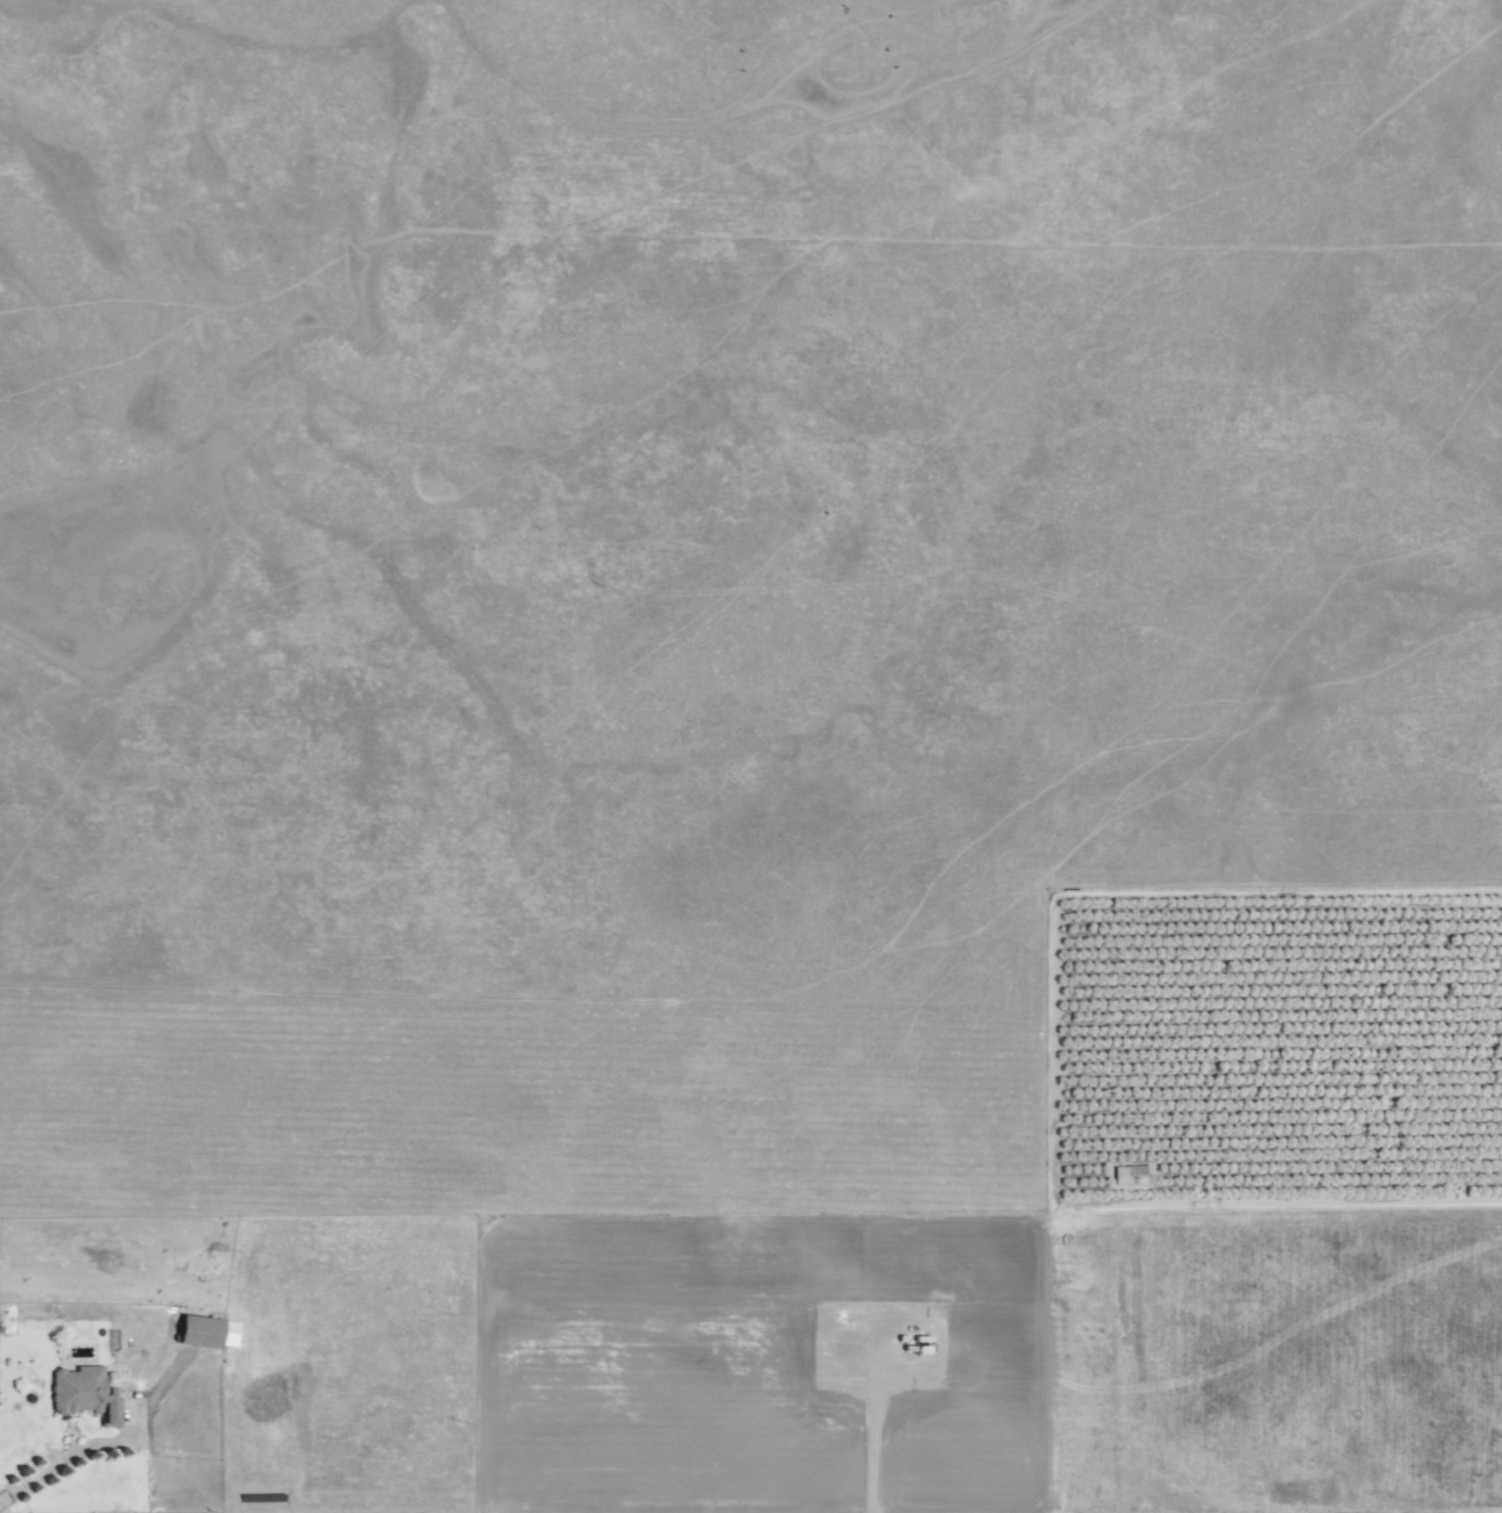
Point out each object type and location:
building: (198, 1332)
building: (81, 1394)
road: (39, 1475)

